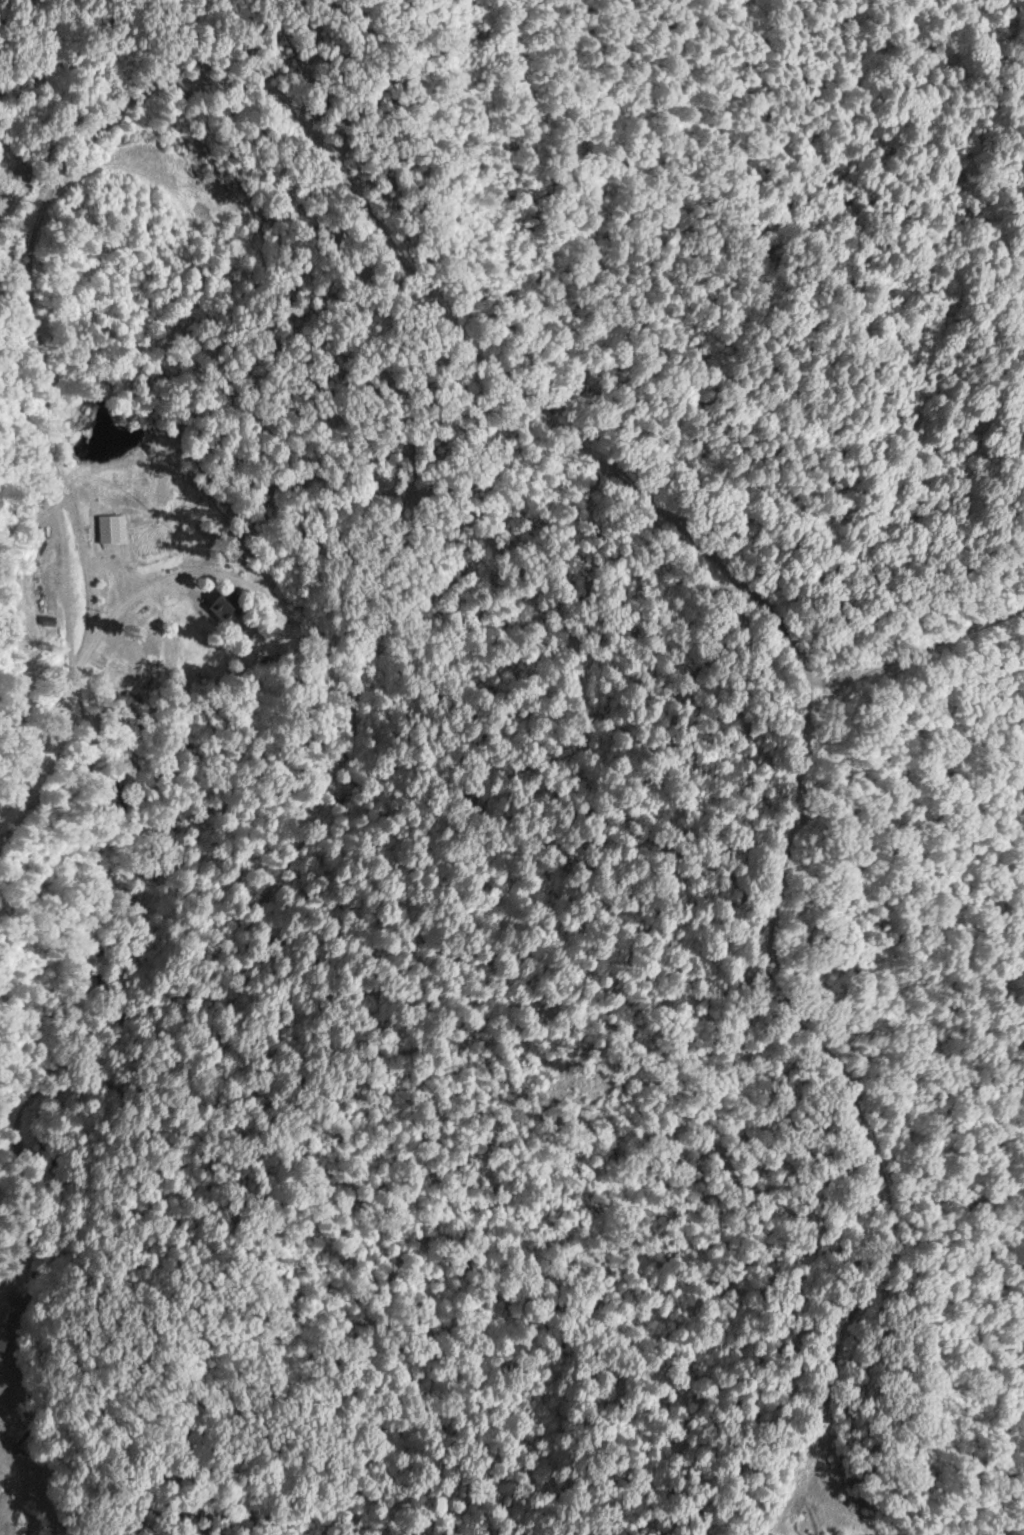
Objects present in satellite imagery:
building: (226, 606)
building: (8, 1316)
building: (2, 1343)

